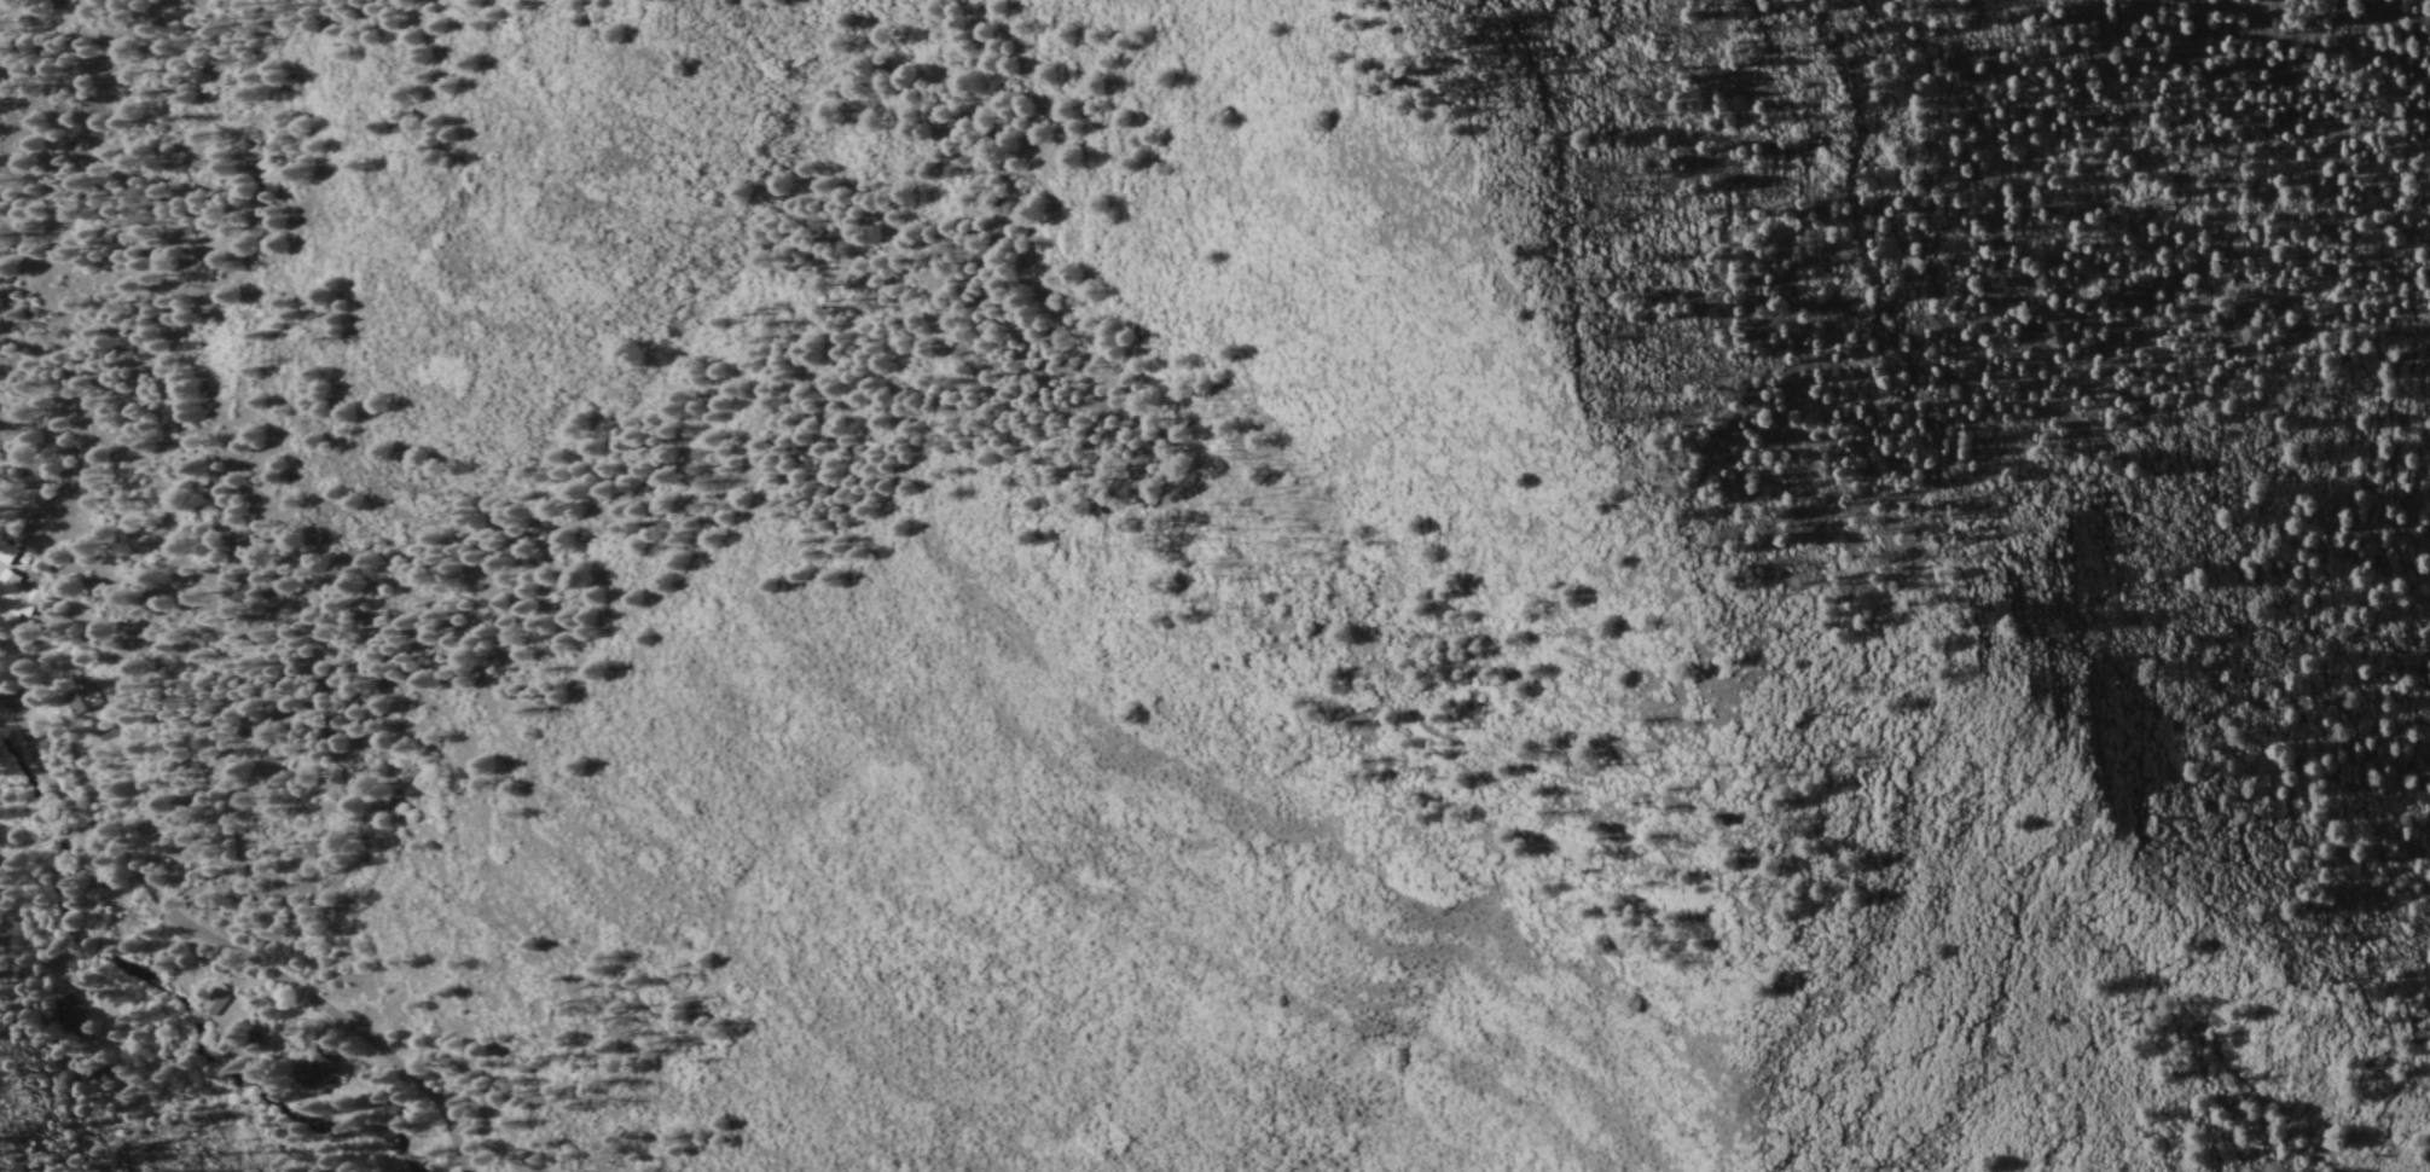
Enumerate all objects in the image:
building: (17, 593)
building: (82, 700)
road: (231, 939)
building: (218, 997)

